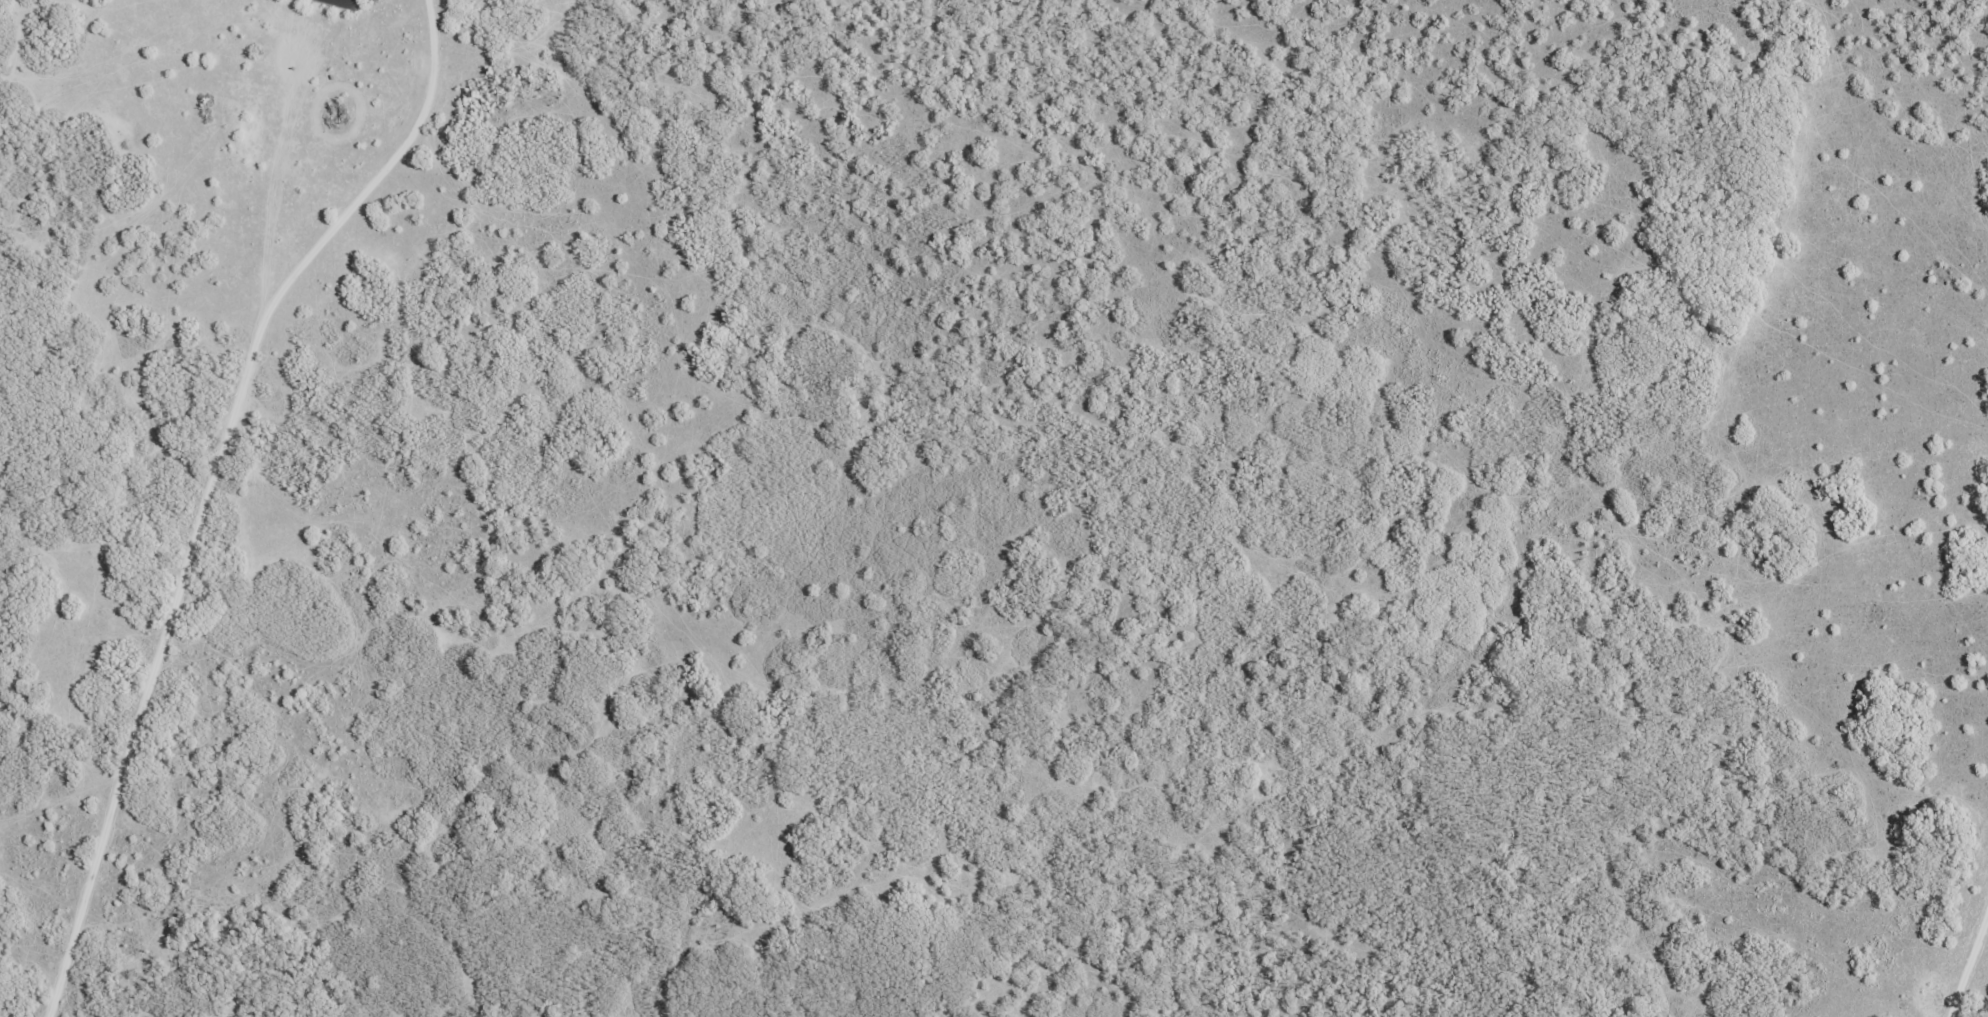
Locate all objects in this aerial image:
road: (1975, 985)

